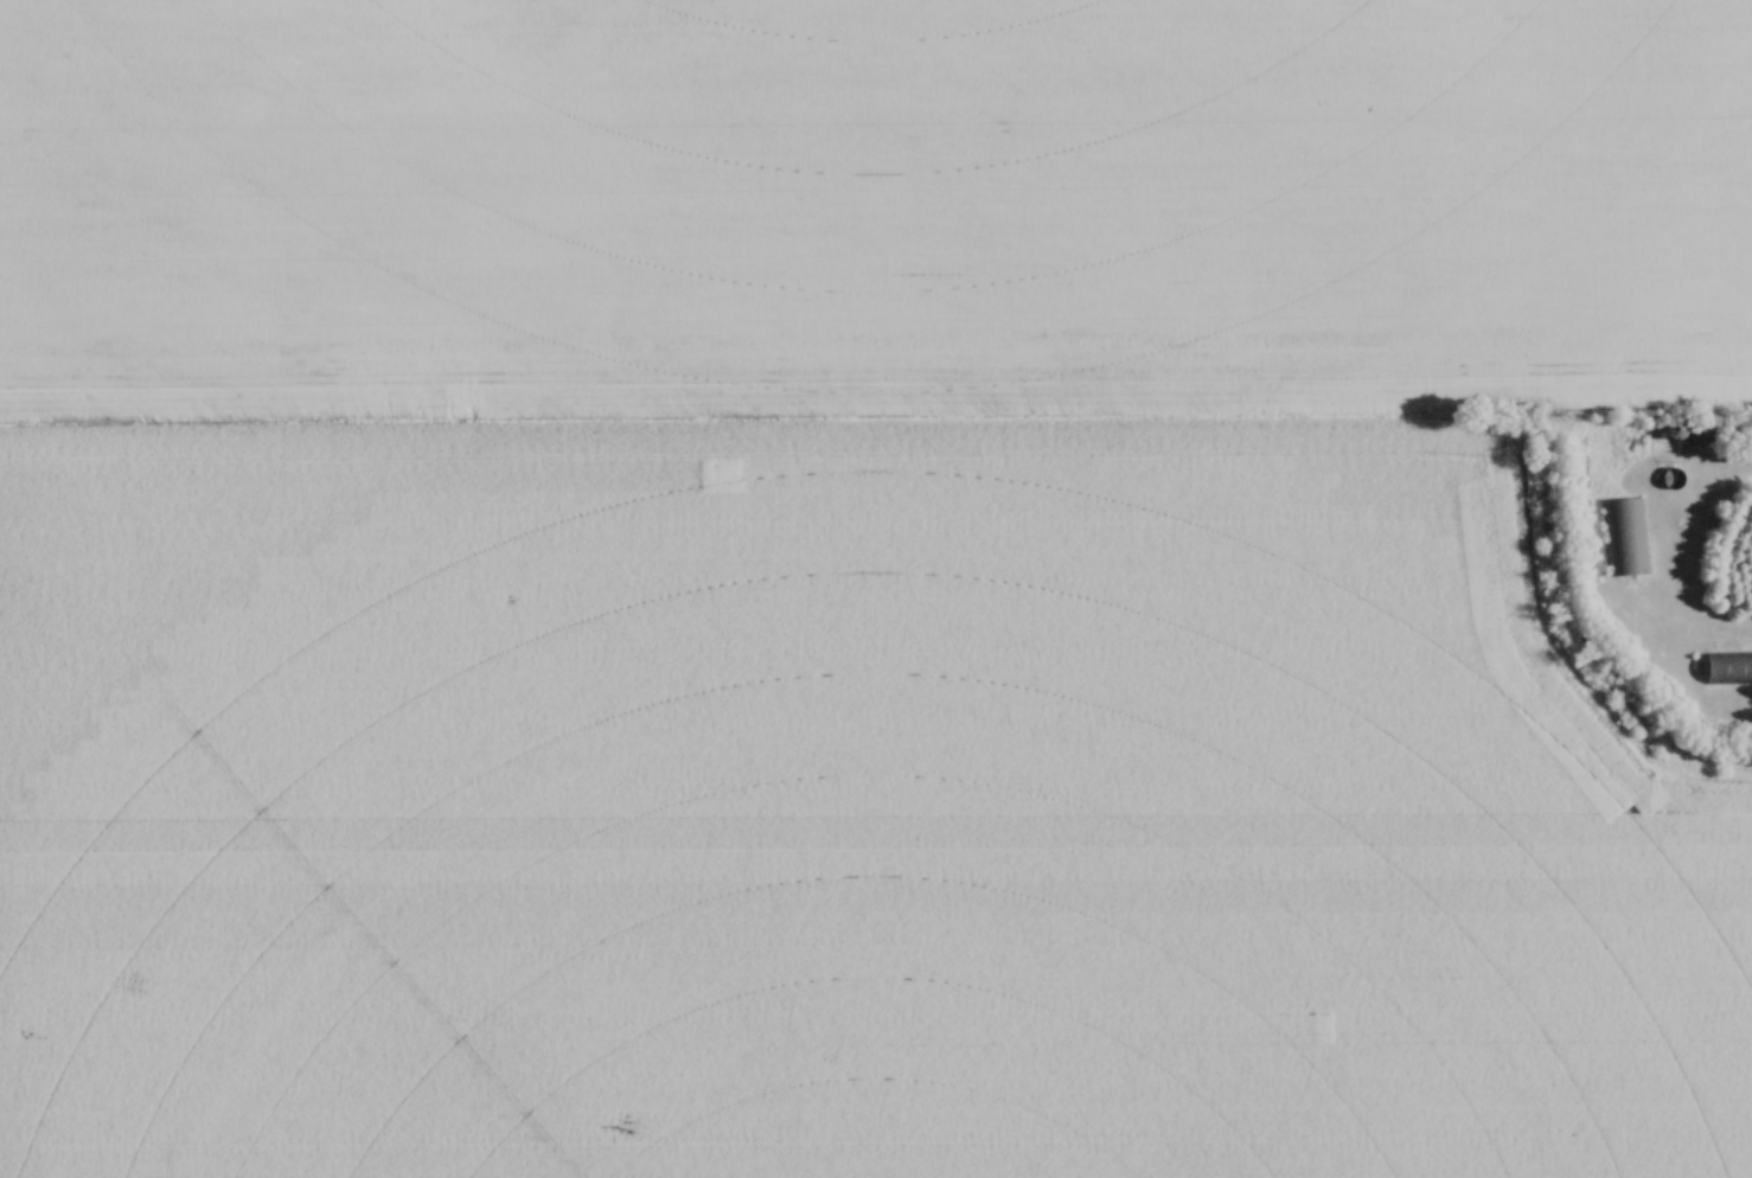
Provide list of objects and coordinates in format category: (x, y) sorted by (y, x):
building: (1622, 537)
building: (1724, 668)

